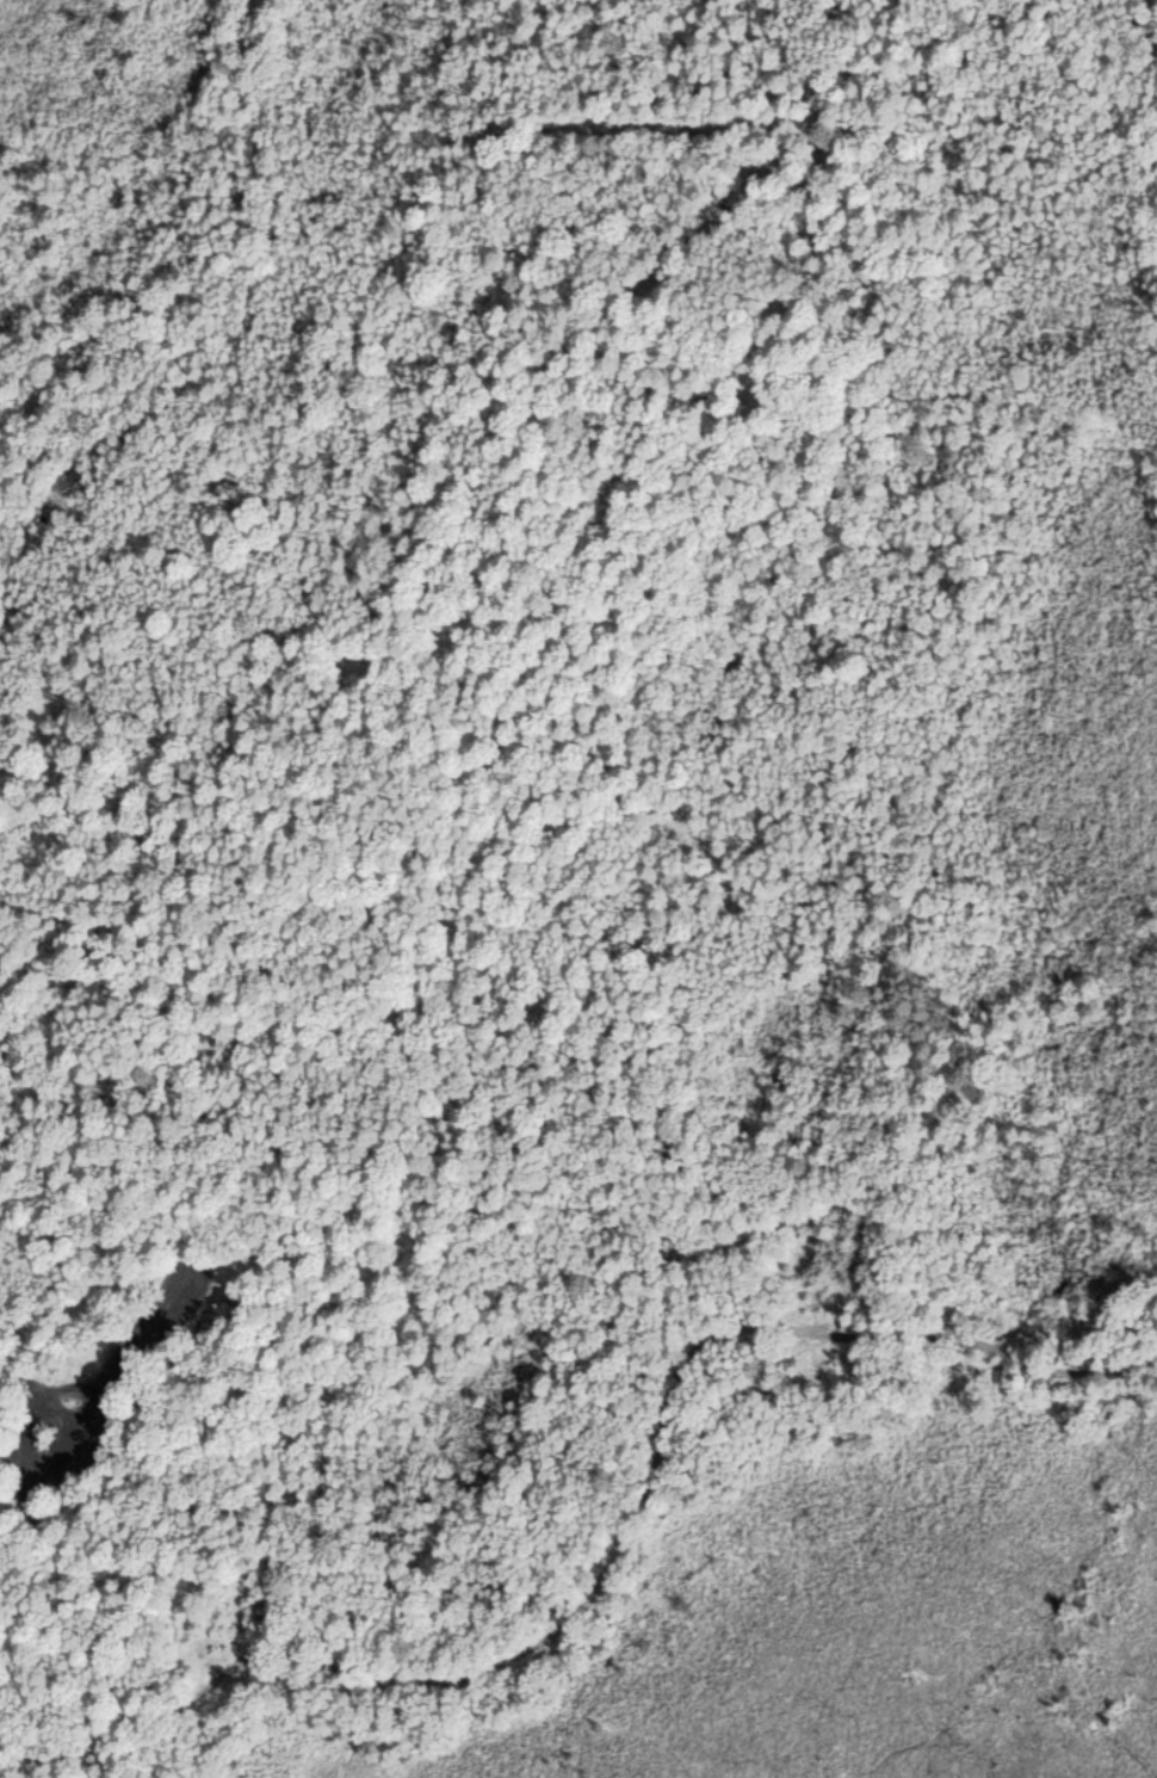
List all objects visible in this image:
road: (615, 1556)

